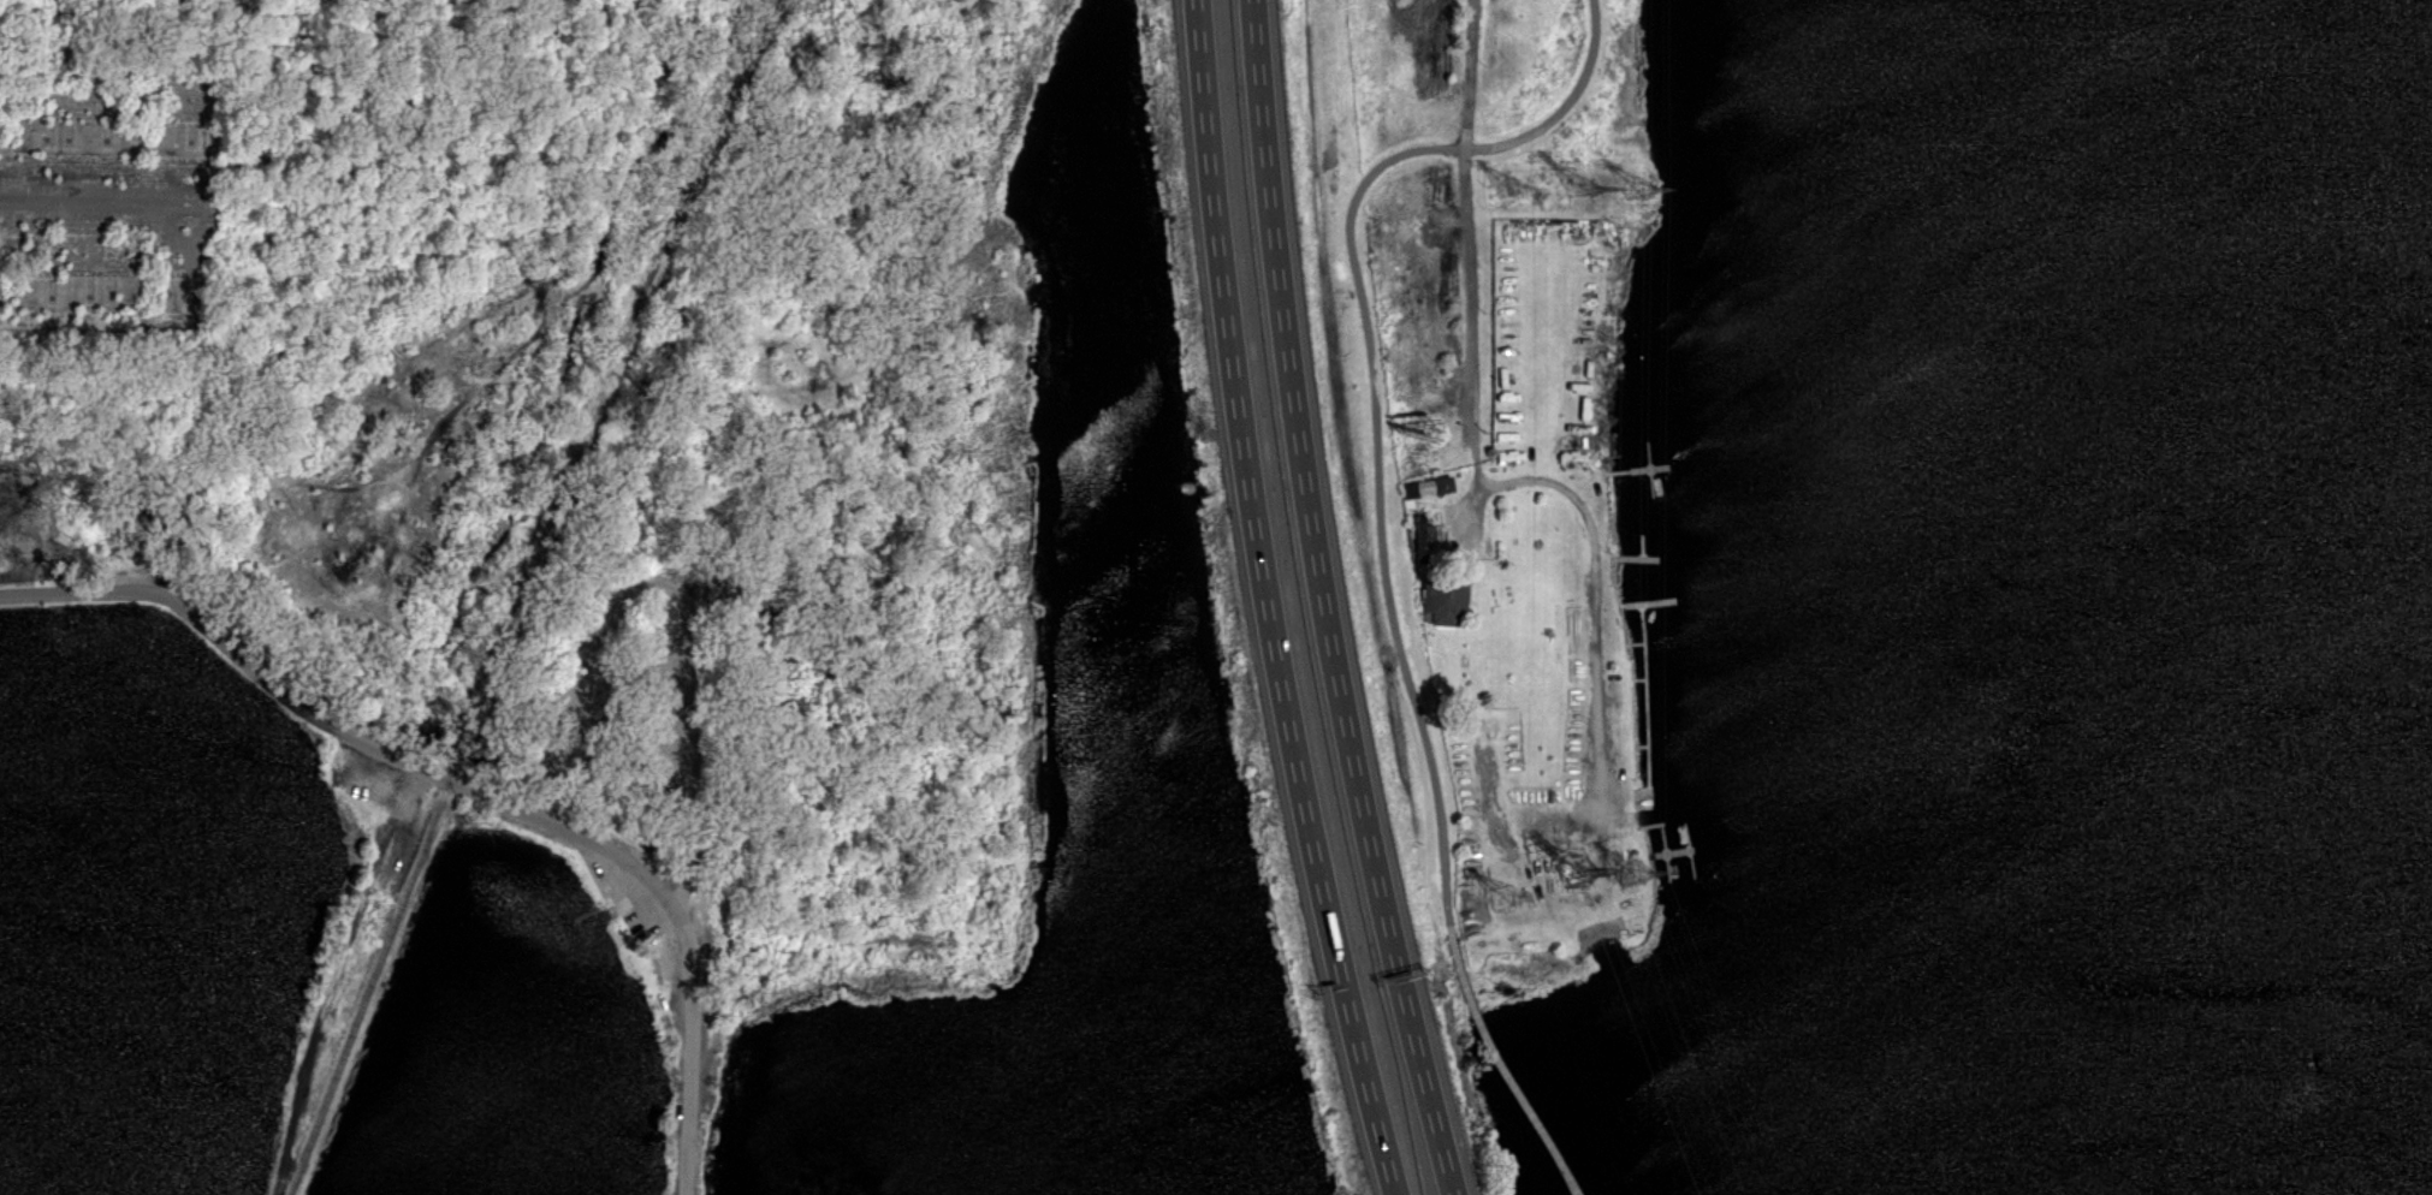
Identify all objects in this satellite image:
power tower: (1508, 190)
power tower: (1636, 190)
power tower: (1584, 194)
road: (1371, 384)
road: (1477, 448)
building: (1426, 486)
building: (1420, 536)
railway: (523, 593)
road: (683, 599)
road: (1267, 601)
road: (1324, 601)
building: (1442, 601)
park: (368, 779)
road: (474, 786)
power tower: (1572, 873)
power tower: (1633, 879)
road: (617, 898)
power tower: (1507, 902)
road: (1497, 1063)

